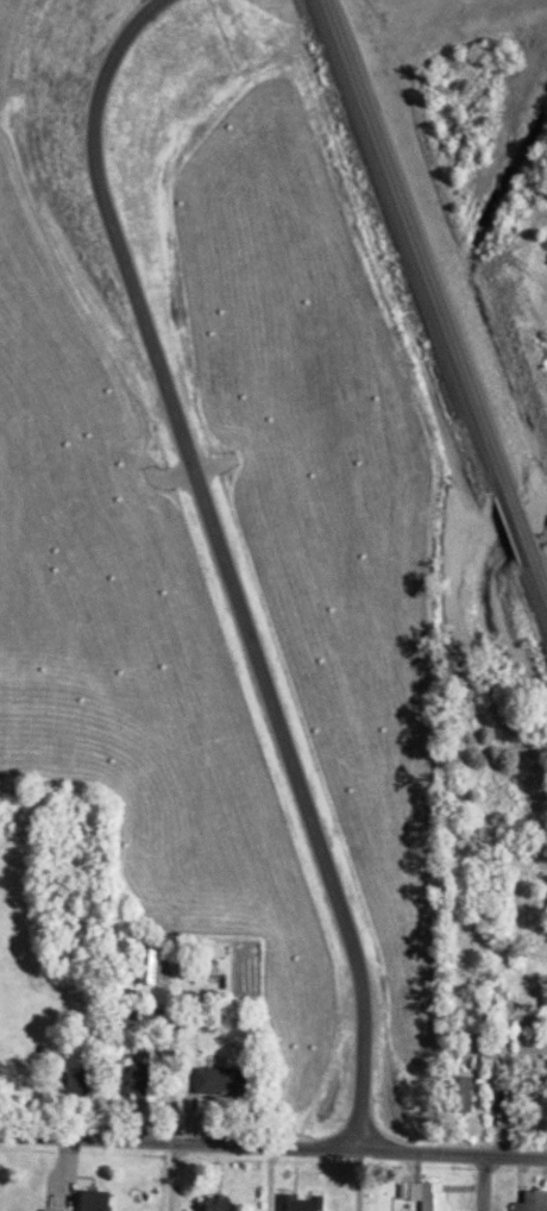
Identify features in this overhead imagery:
railway: (415, 262)
railway: (514, 534)
road: (222, 567)
railway: (532, 588)
building: (157, 967)
building: (497, 1079)
building: (139, 1083)
building: (220, 1083)
road: (273, 1146)
road: (479, 1184)
building: (428, 1196)
building: (93, 1201)
building: (533, 1201)
building: (301, 1204)
building: (219, 1205)

